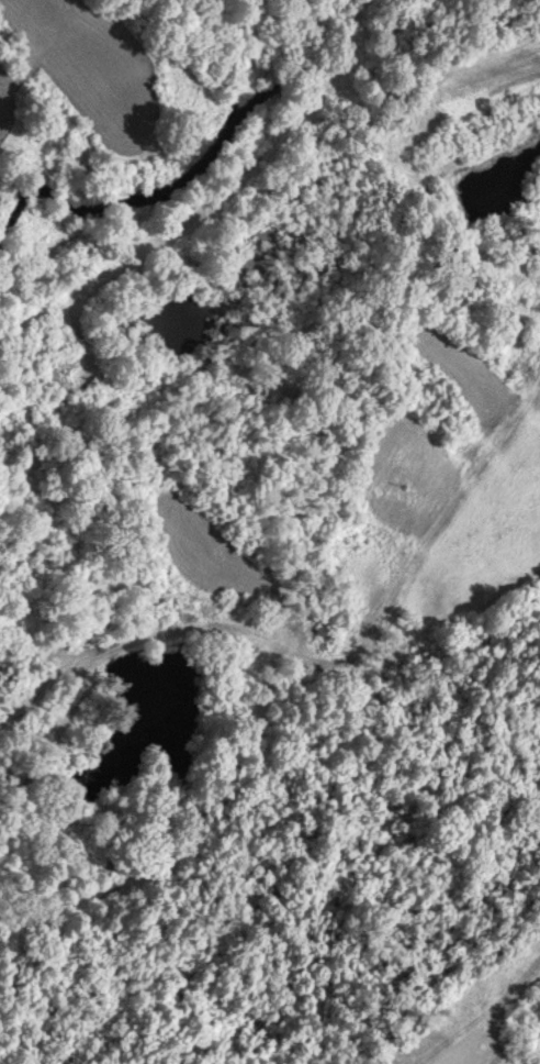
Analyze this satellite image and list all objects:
building: (535, 258)

